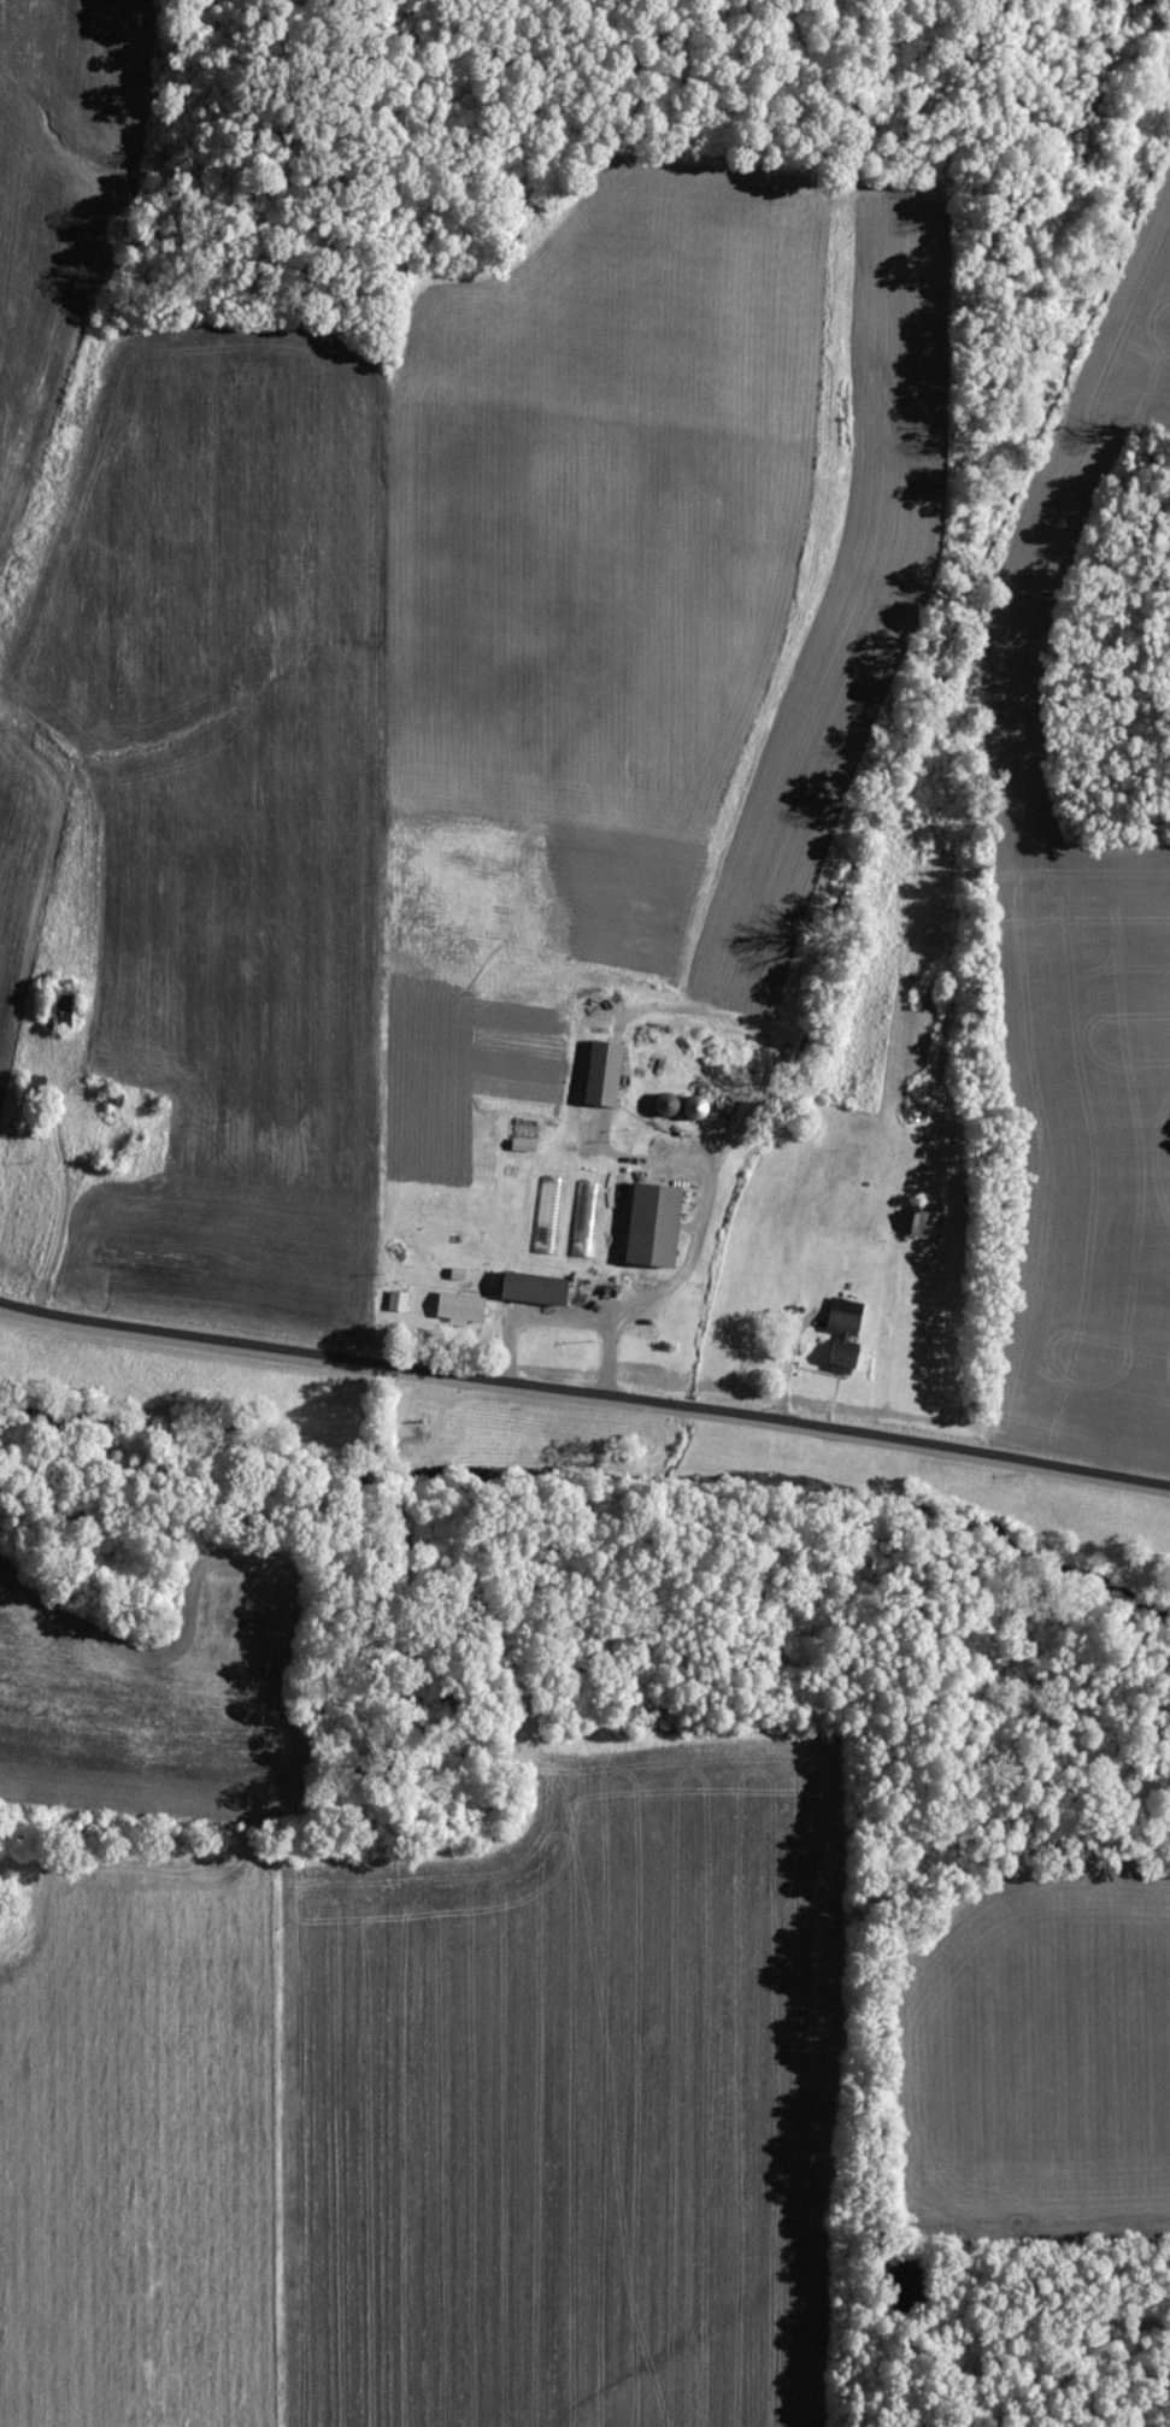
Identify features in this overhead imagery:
building: (605, 1073)
road: (69, 1185)
building: (569, 1192)
building: (587, 1204)
building: (654, 1224)
road: (684, 1274)
building: (536, 1288)
building: (398, 1300)
building: (461, 1307)
building: (843, 1334)
road: (584, 1394)

